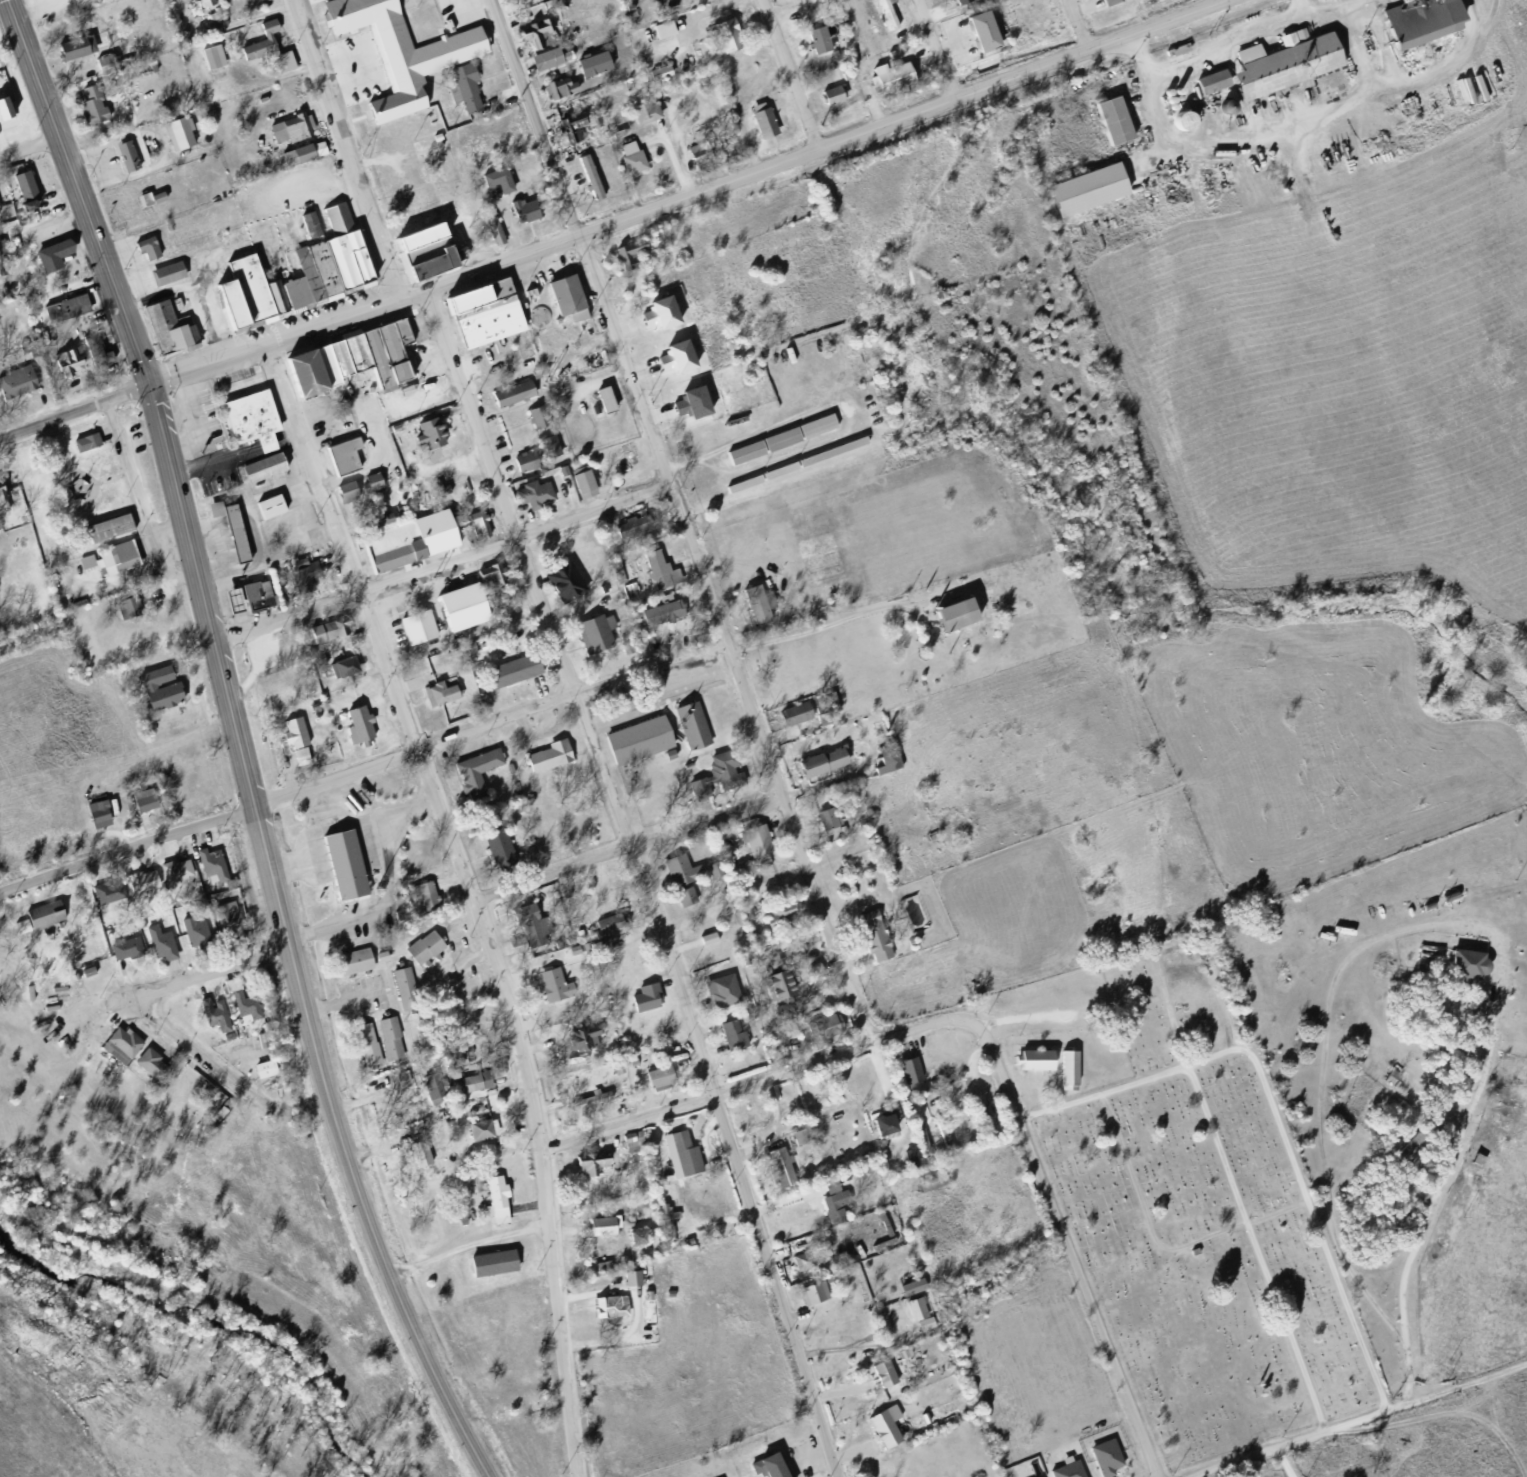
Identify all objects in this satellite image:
building: (510, 1)
building: (956, 3)
building: (1107, 4)
building: (208, 5)
road: (1300, 7)
building: (891, 14)
building: (883, 17)
building: (210, 23)
road: (1076, 23)
building: (1419, 23)
building: (668, 28)
building: (991, 31)
road: (1251, 34)
building: (659, 35)
building: (532, 37)
building: (980, 38)
building: (823, 39)
building: (724, 40)
building: (81, 45)
building: (815, 45)
road: (936, 47)
road: (1362, 49)
building: (264, 51)
building: (396, 52)
building: (69, 53)
road: (1137, 55)
building: (1174, 55)
building: (288, 60)
building: (833, 60)
building: (210, 61)
building: (542, 65)
building: (1282, 68)
building: (590, 69)
building: (663, 71)
road: (789, 71)
building: (656, 77)
building: (886, 81)
building: (470, 86)
building: (1208, 87)
building: (556, 93)
building: (1174, 95)
silo: (1174, 95)
building: (459, 96)
building: (1163, 97)
silo: (1163, 97)
building: (829, 99)
building: (1166, 105)
silo: (1166, 105)
building: (8, 107)
building: (648, 110)
building: (88, 111)
building: (1169, 112)
silo: (1169, 112)
building: (1222, 112)
silo: (1222, 112)
road: (534, 115)
road: (1320, 115)
building: (640, 117)
building: (770, 122)
building: (1178, 124)
silo: (1178, 124)
building: (759, 126)
building: (1108, 127)
building: (568, 130)
building: (289, 134)
building: (175, 140)
building: (500, 140)
building: (433, 142)
road: (29, 147)
road: (345, 147)
road: (331, 150)
building: (698, 158)
building: (125, 160)
building: (293, 160)
building: (629, 164)
building: (503, 178)
building: (595, 178)
park: (440, 180)
building: (586, 183)
building: (494, 185)
building: (31, 189)
road: (79, 192)
road: (681, 192)
building: (21, 196)
building: (162, 196)
building: (1082, 196)
building: (145, 203)
building: (0, 208)
building: (529, 209)
building: (520, 216)
building: (314, 222)
building: (498, 230)
building: (491, 236)
building: (153, 246)
building: (144, 252)
building: (429, 252)
building: (341, 255)
building: (49, 259)
building: (630, 260)
building: (316, 262)
building: (3, 263)
building: (163, 278)
building: (304, 280)
building: (494, 292)
building: (571, 293)
building: (247, 294)
building: (291, 299)
building: (526, 300)
building: (273, 301)
building: (563, 304)
building: (62, 312)
building: (227, 312)
building: (668, 312)
building: (581, 314)
building: (535, 319)
storage tank: (535, 319)
building: (477, 321)
fountain: (412, 324)
building: (166, 332)
building: (396, 338)
building: (353, 349)
building: (103, 354)
building: (93, 355)
building: (684, 356)
building: (350, 362)
building: (66, 363)
building: (381, 364)
building: (335, 365)
building: (321, 370)
building: (408, 371)
building: (302, 382)
building: (670, 383)
traffic signals: (149, 385)
building: (14, 386)
road: (428, 397)
building: (509, 398)
building: (611, 398)
building: (704, 400)
building: (601, 405)
road: (74, 410)
building: (542, 416)
building: (534, 423)
building: (248, 426)
building: (426, 439)
building: (552, 444)
building: (778, 444)
building: (83, 445)
building: (634, 449)
building: (625, 454)
building: (535, 460)
building: (344, 461)
building: (792, 469)
building: (259, 473)
building: (588, 481)
building: (375, 482)
building: (368, 487)
building: (579, 487)
building: (351, 490)
building: (3, 492)
building: (435, 493)
building: (343, 496)
building: (531, 498)
road: (140, 501)
building: (2, 508)
building: (266, 512)
building: (483, 523)
building: (375, 525)
building: (236, 527)
building: (633, 529)
building: (476, 530)
building: (106, 533)
building: (227, 534)
building: (406, 546)
building: (114, 561)
road: (442, 563)
building: (83, 564)
building: (654, 574)
building: (299, 579)
building: (491, 579)
building: (561, 586)
road: (203, 595)
building: (240, 598)
building: (255, 600)
building: (229, 607)
building: (126, 611)
building: (755, 611)
building: (459, 613)
building: (659, 617)
building: (951, 621)
road: (832, 623)
building: (415, 632)
building: (323, 635)
road: (723, 635)
building: (591, 636)
building: (341, 672)
building: (509, 675)
building: (167, 691)
building: (288, 699)
building: (438, 699)
building: (310, 709)
building: (791, 718)
road: (490, 725)
building: (356, 728)
building: (688, 730)
building: (292, 736)
building: (634, 745)
building: (305, 754)
building: (893, 758)
building: (546, 760)
building: (817, 767)
building: (884, 768)
building: (472, 776)
building: (714, 782)
building: (140, 803)
building: (351, 805)
storage tank: (351, 805)
building: (103, 812)
building: (95, 819)
road: (707, 822)
building: (828, 823)
building: (753, 847)
road: (127, 850)
building: (499, 856)
building: (208, 867)
building: (717, 868)
building: (341, 869)
road: (552, 874)
building: (173, 875)
road: (642, 877)
road: (272, 878)
building: (678, 882)
building: (137, 888)
building: (112, 892)
road: (470, 897)
building: (103, 900)
building: (422, 900)
road: (480, 909)
building: (232, 918)
building: (41, 919)
building: (777, 920)
building: (224, 926)
road: (1457, 926)
building: (609, 928)
building: (529, 929)
building: (712, 937)
building: (193, 938)
building: (871, 942)
building: (705, 944)
building: (157, 947)
building: (582, 947)
building: (421, 951)
building: (123, 952)
building: (351, 965)
building: (770, 967)
building: (819, 968)
building: (1462, 968)
building: (786, 983)
road: (182, 984)
building: (552, 989)
building: (777, 991)
building: (401, 992)
building: (719, 995)
building: (246, 1001)
building: (643, 1002)
building: (175, 1006)
building: (213, 1020)
building: (822, 1032)
building: (588, 1036)
building: (730, 1039)
building: (386, 1041)
building: (577, 1044)
building: (364, 1048)
building: (118, 1049)
building: (155, 1062)
road: (999, 1065)
building: (1030, 1065)
building: (146, 1066)
building: (268, 1067)
building: (916, 1071)
building: (261, 1073)
building: (1065, 1074)
building: (906, 1077)
building: (480, 1080)
building: (657, 1082)
road: (753, 1082)
building: (436, 1086)
building: (429, 1090)
road: (1101, 1093)
building: (590, 1104)
building: (881, 1126)
building: (487, 1128)
building: (477, 1135)
building: (797, 1135)
building: (636, 1141)
building: (1412, 1148)
building: (913, 1155)
building: (418, 1157)
building: (683, 1160)
building: (597, 1161)
building: (772, 1172)
building: (929, 1188)
building: (493, 1203)
building: (833, 1209)
building: (670, 1212)
park: (1202, 1216)
road: (368, 1221)
building: (666, 1223)
building: (608, 1224)
building: (599, 1230)
building: (644, 1236)
building: (633, 1240)
road: (468, 1246)
road: (1255, 1248)
building: (808, 1258)
building: (606, 1264)
building: (488, 1268)
building: (600, 1269)
building: (635, 1277)
building: (629, 1283)
building: (909, 1292)
building: (811, 1297)
building: (644, 1299)
road: (1087, 1300)
building: (919, 1307)
building: (606, 1310)
building: (913, 1314)
building: (928, 1322)
building: (924, 1328)
building: (889, 1372)
building: (880, 1379)
park: (238, 1418)
road: (1361, 1419)
building: (890, 1426)
building: (882, 1434)
building: (1102, 1461)
road: (1284, 1461)
building: (764, 1468)
building: (1064, 1472)
building: (1040, 1476)

